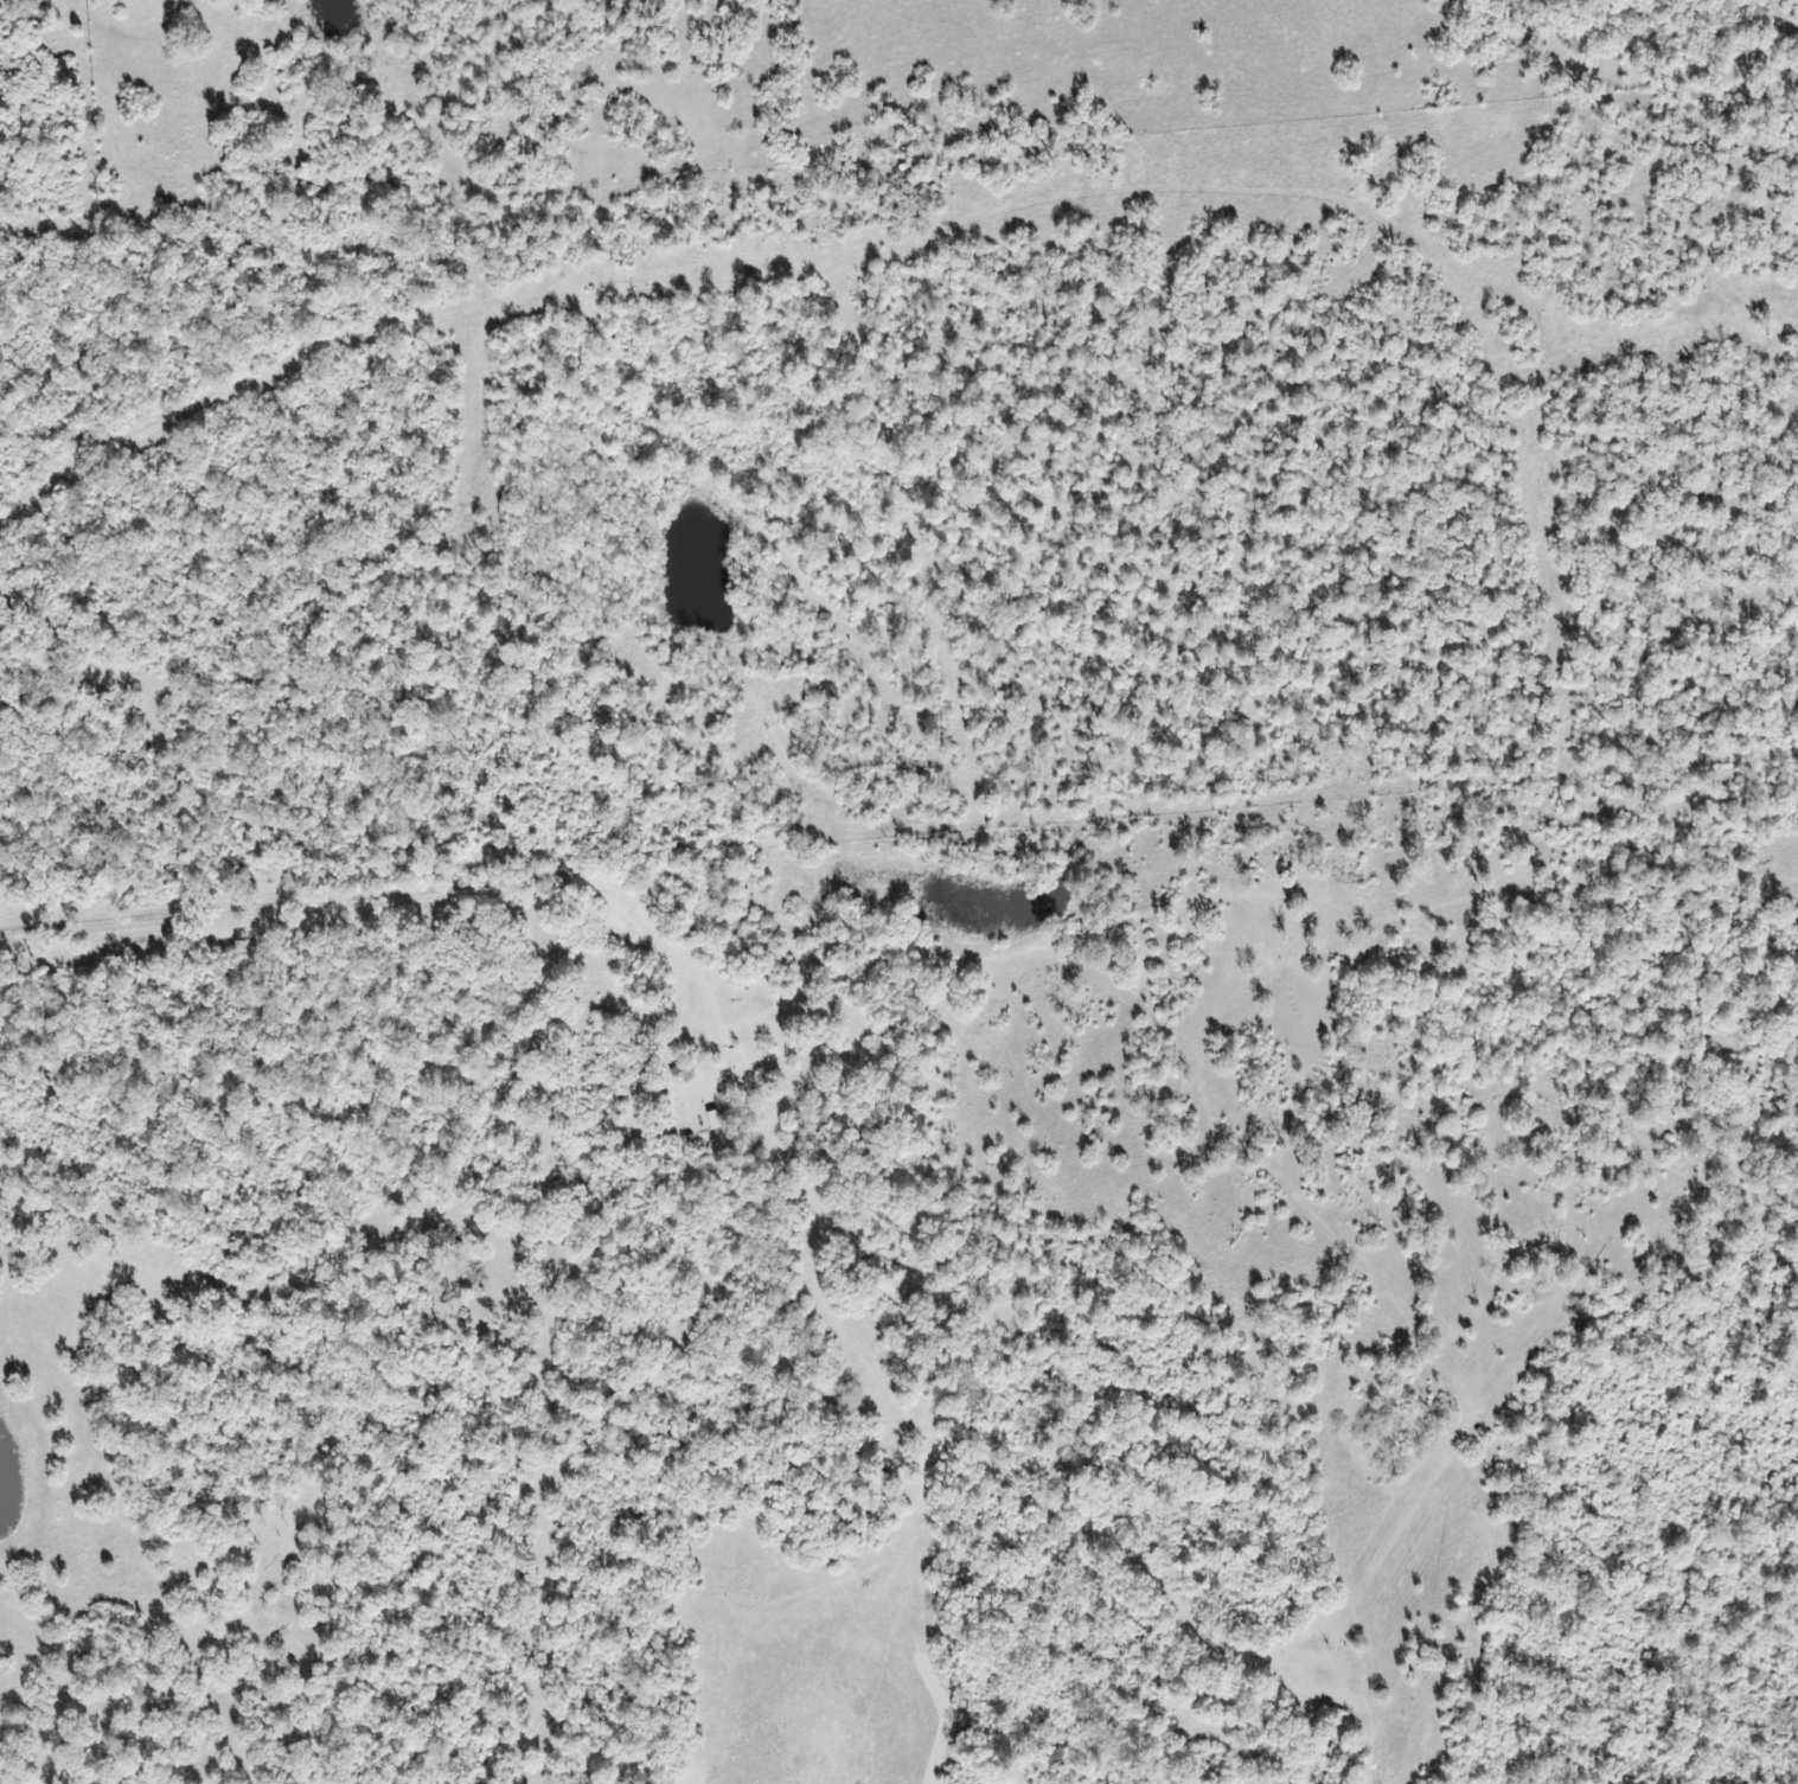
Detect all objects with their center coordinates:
road: (279, 899)

